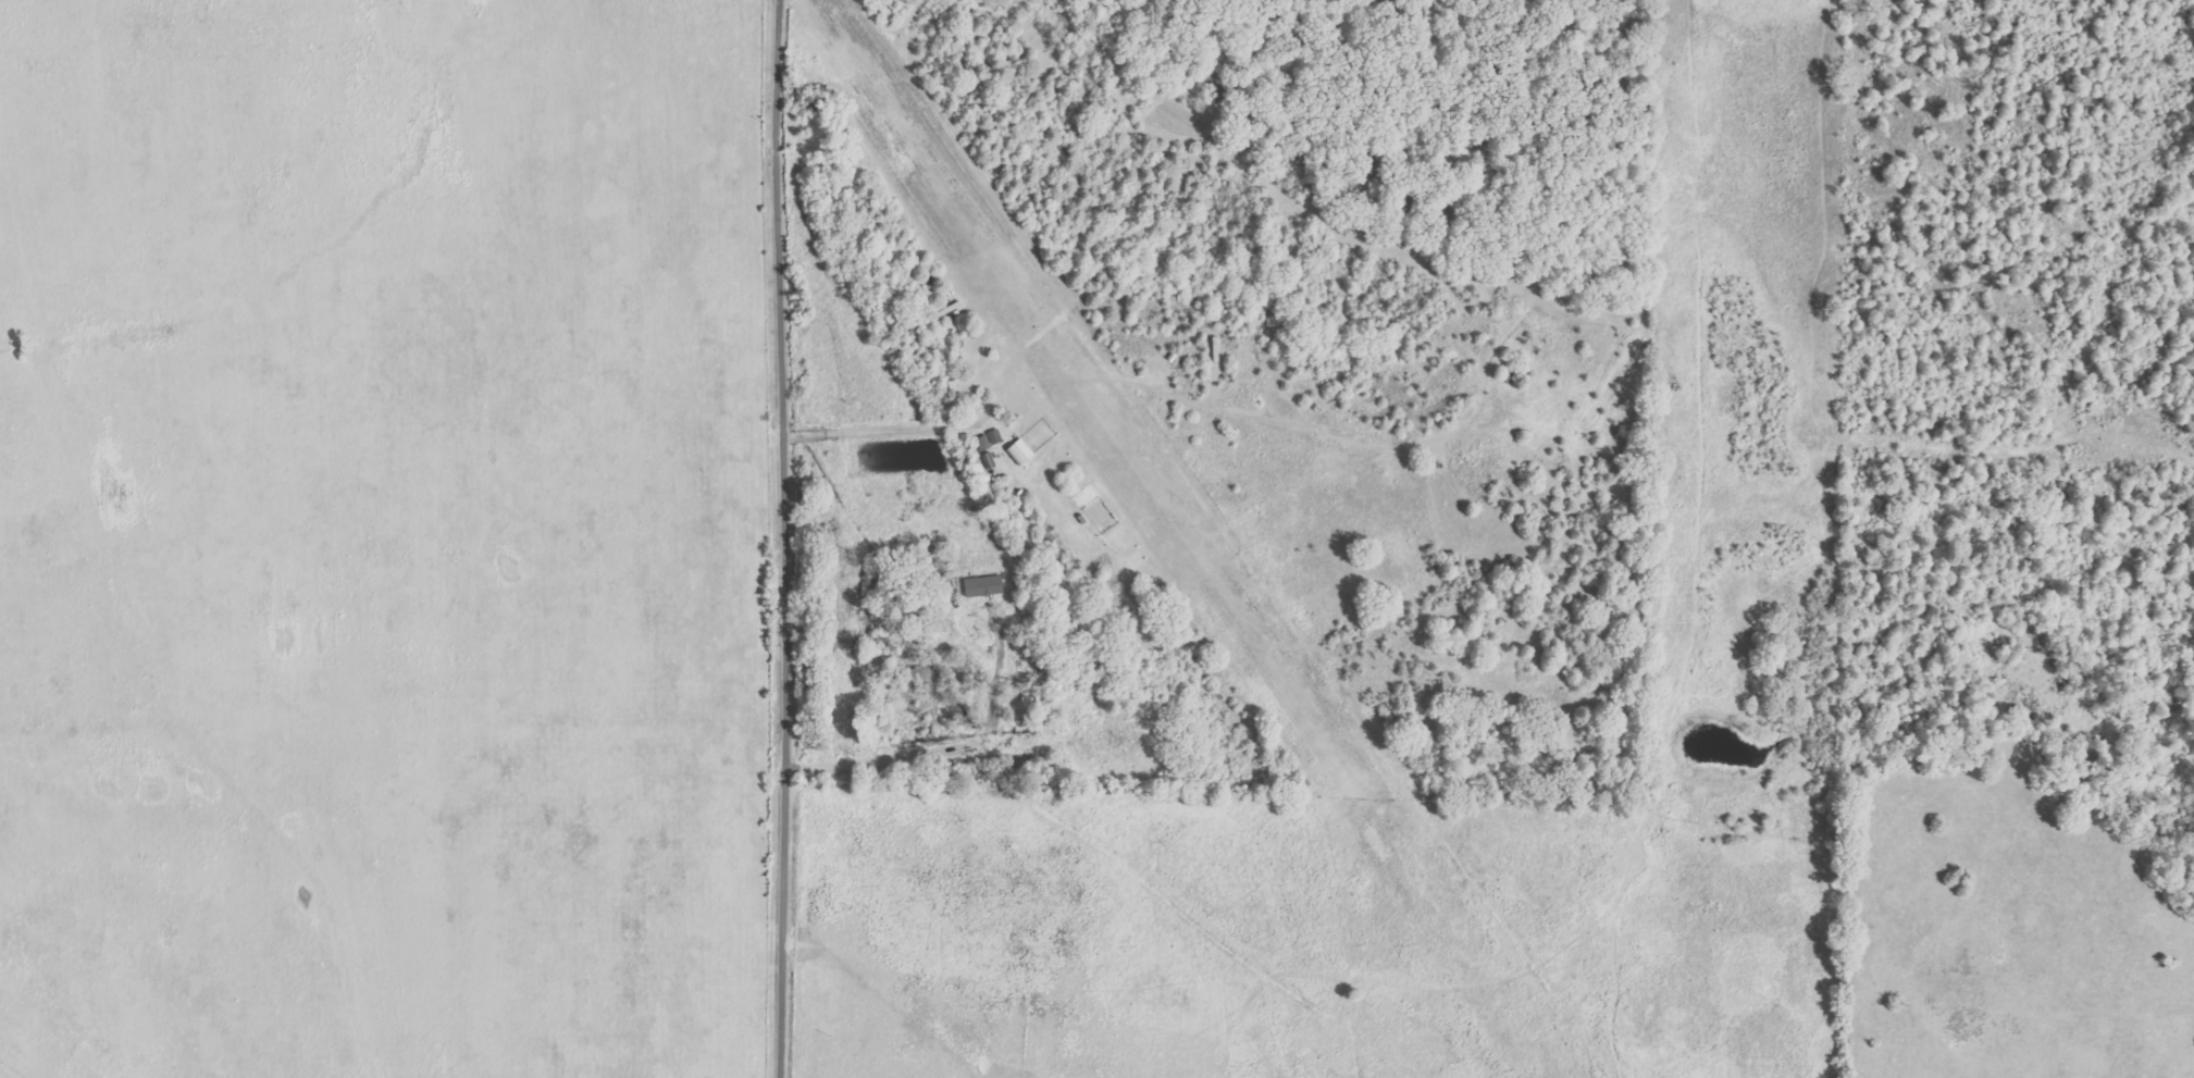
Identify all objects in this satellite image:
building: (990, 441)
building: (1021, 453)
road: (783, 538)
building: (984, 586)

